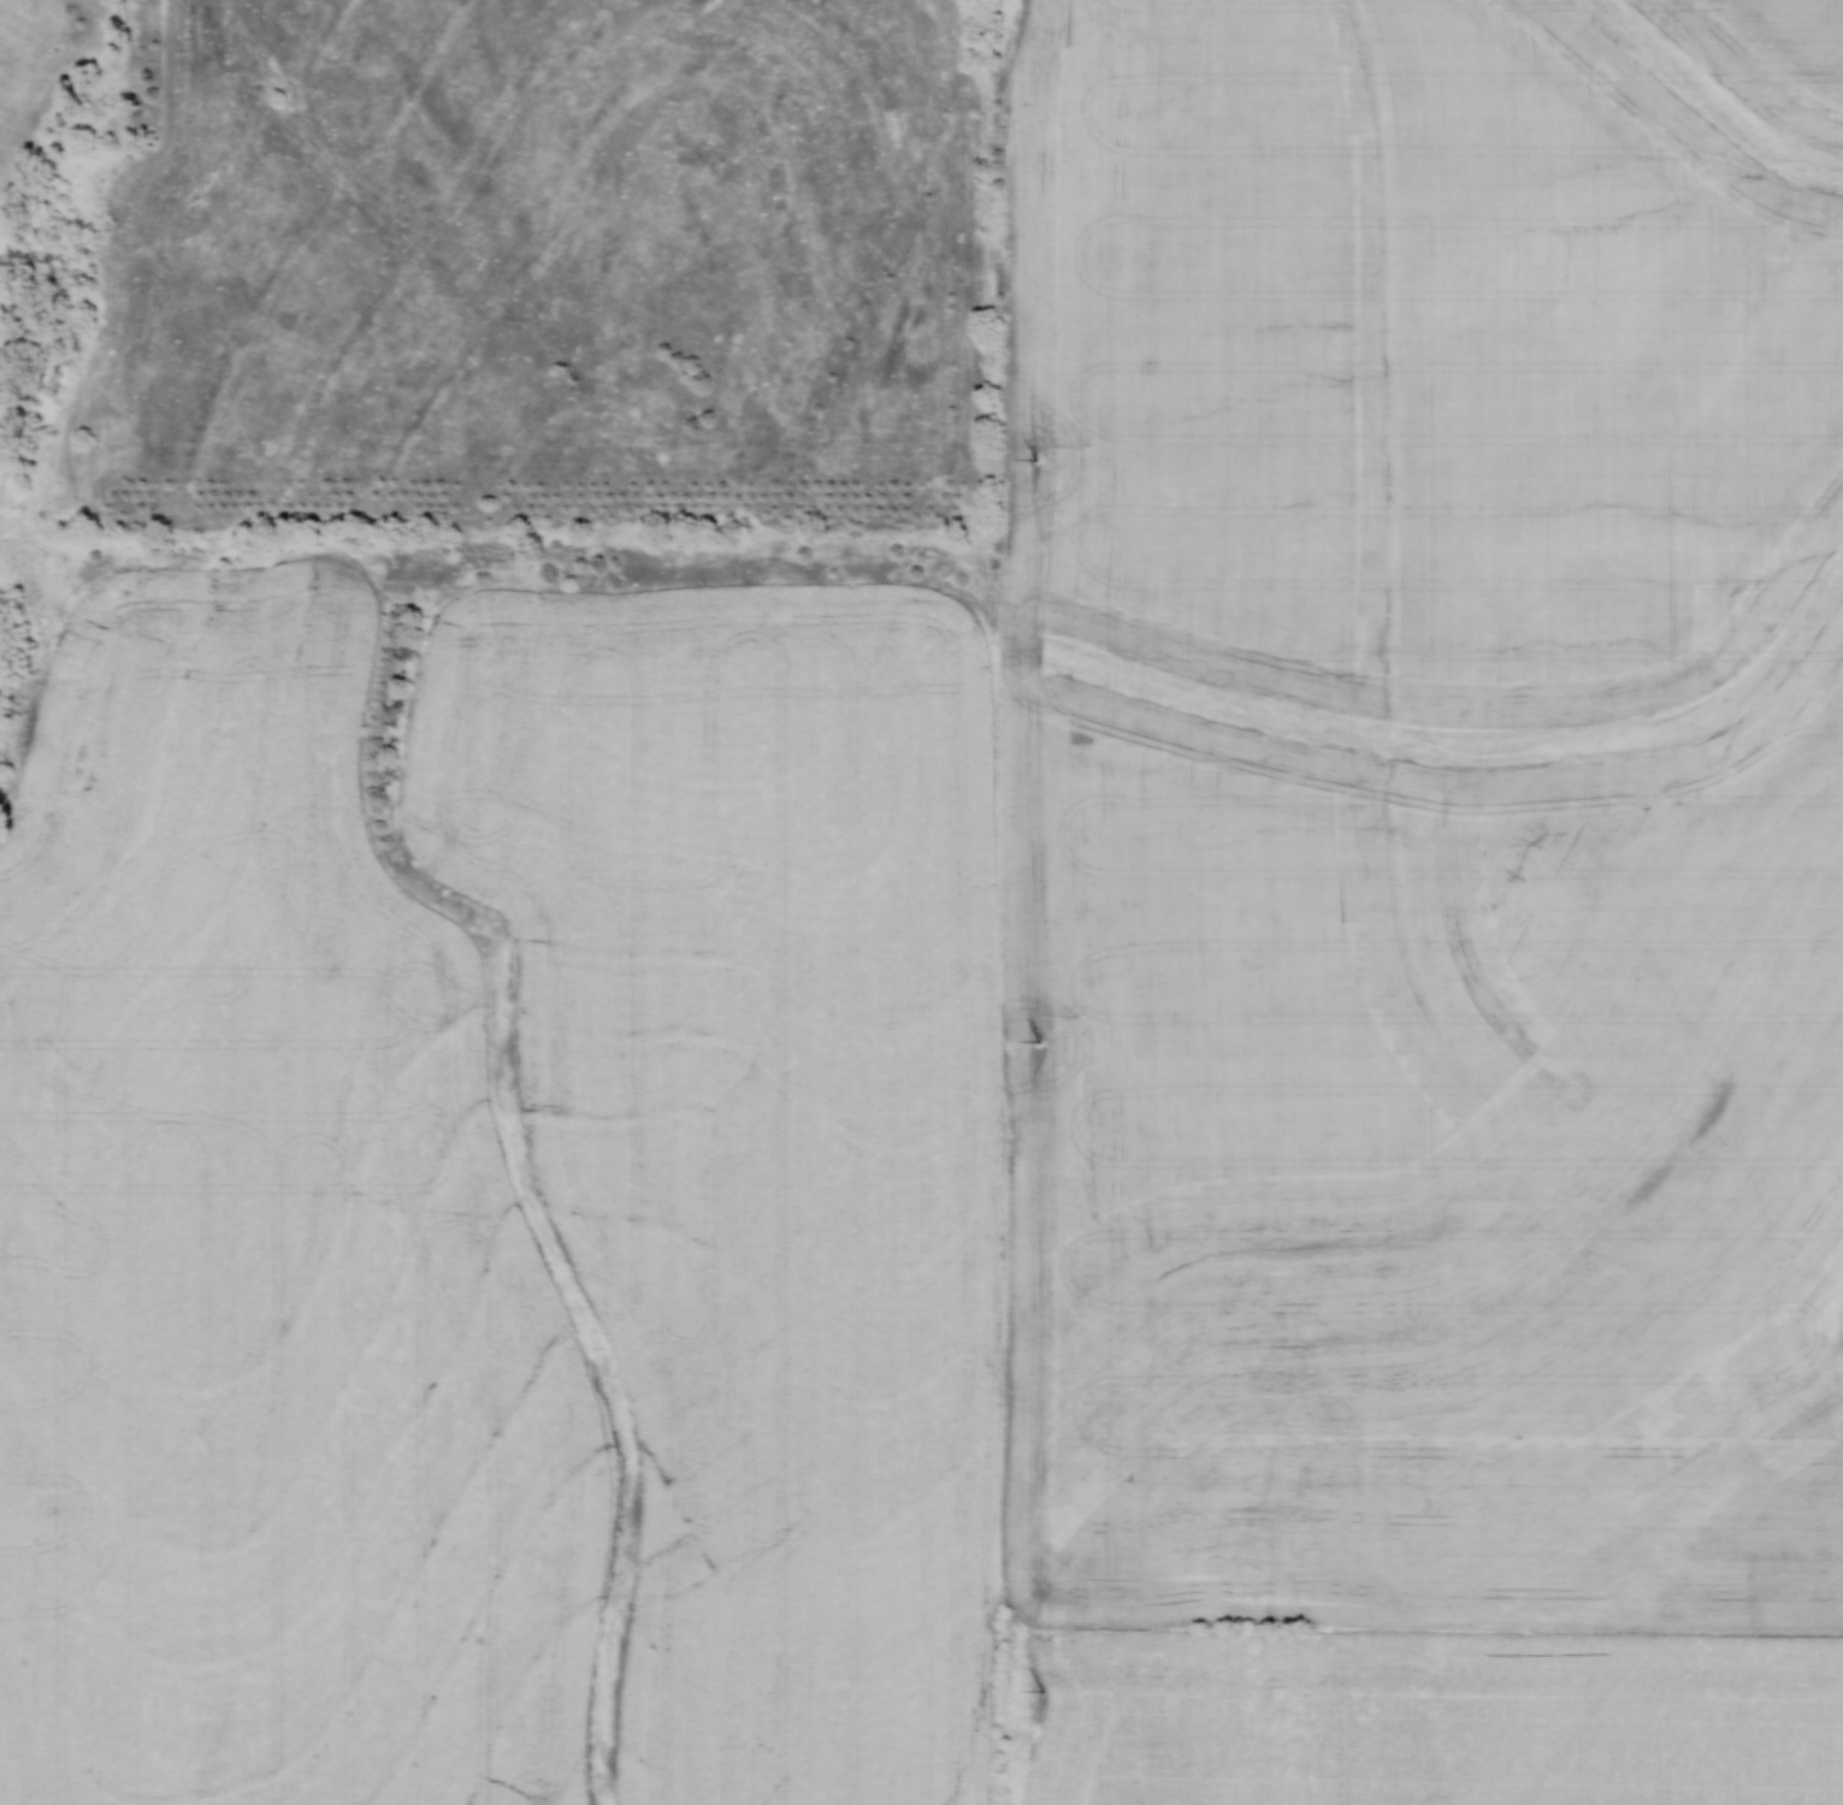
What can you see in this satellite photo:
power tower: (1034, 457)
power tower: (1038, 1038)
power tower: (1041, 1689)

